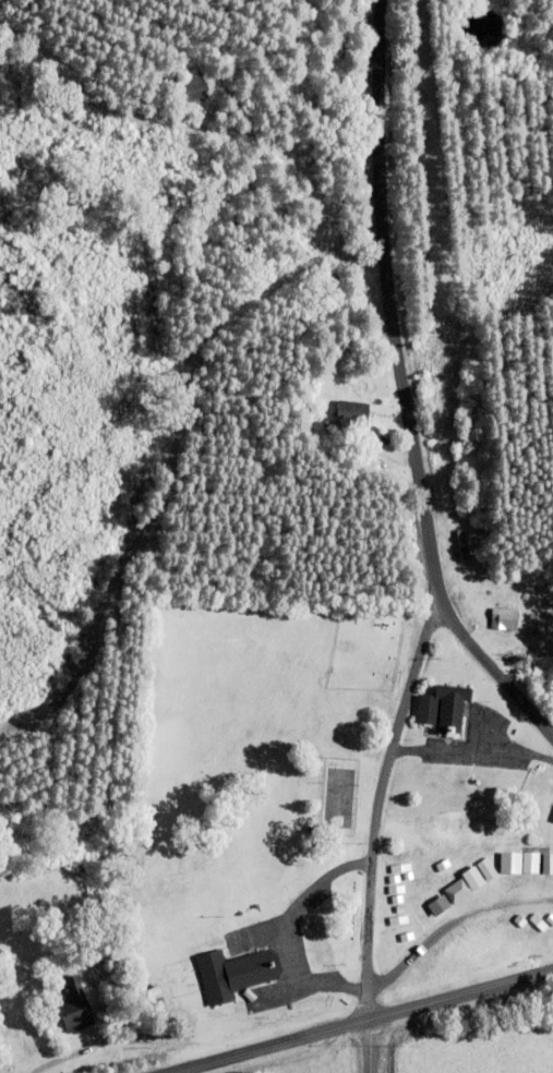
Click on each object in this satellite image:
building: (192, 89)
building: (351, 421)
road: (431, 540)
road: (494, 667)
building: (442, 709)
building: (527, 859)
building: (471, 878)
building: (440, 903)
road: (452, 923)
building: (398, 939)
building: (235, 973)
building: (75, 1005)
road: (356, 1021)

